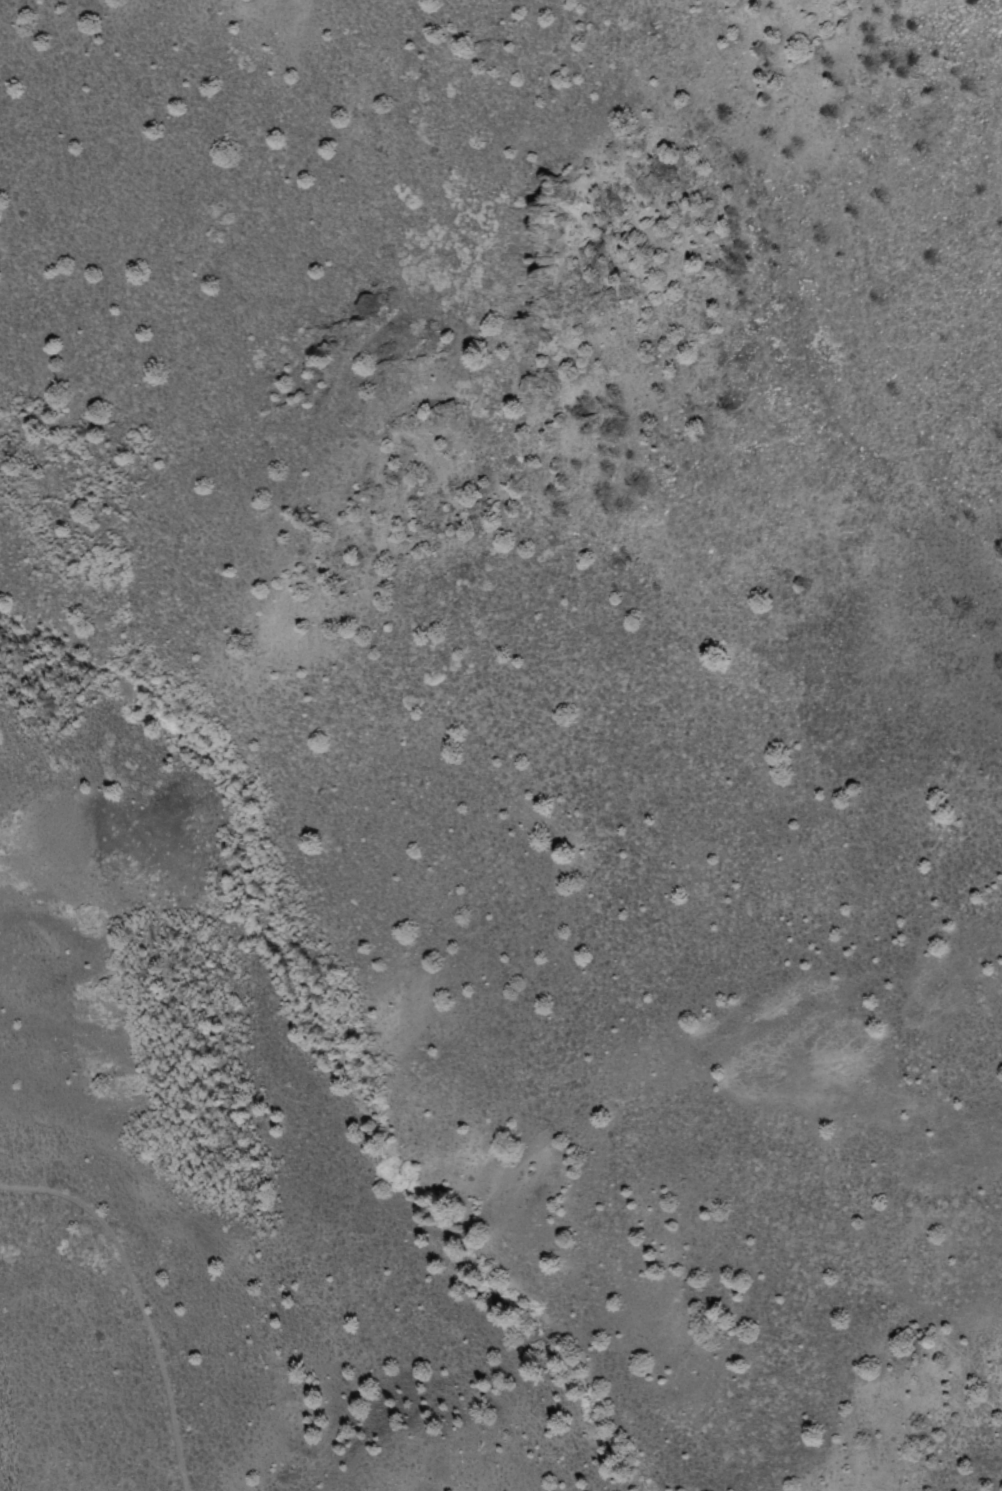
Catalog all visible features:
road: (143, 1297)

